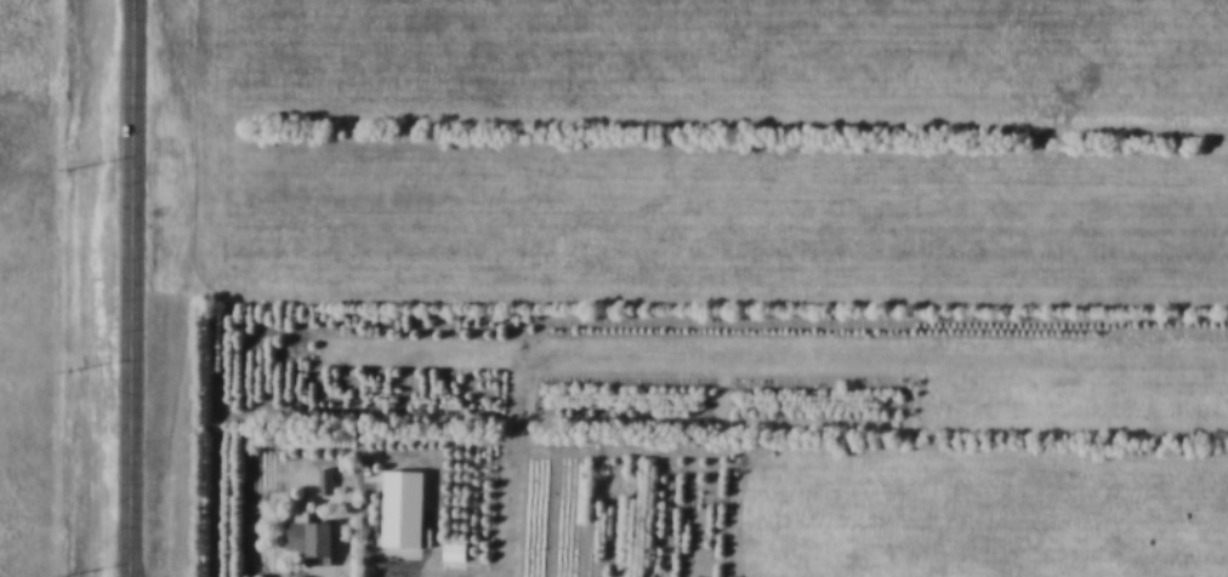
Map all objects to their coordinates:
road: (131, 287)
road: (852, 309)
building: (402, 514)
building: (315, 542)
building: (450, 550)

